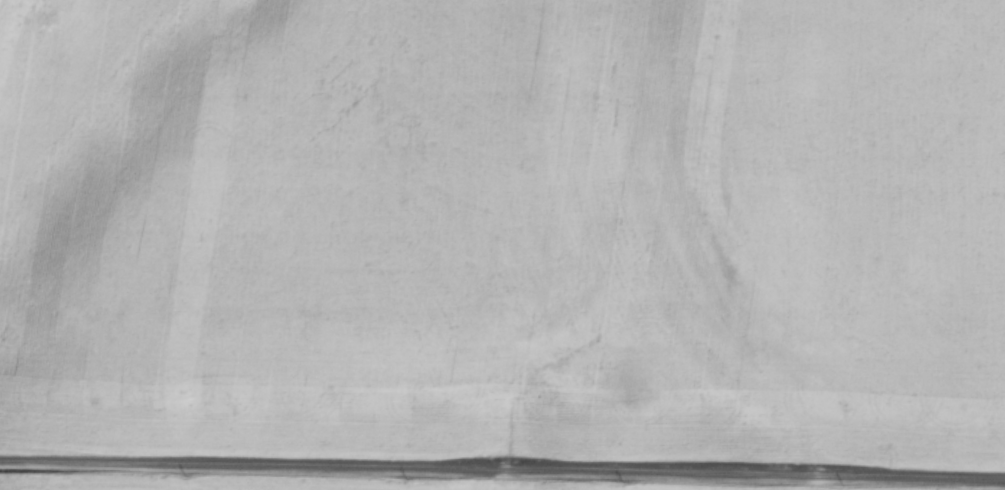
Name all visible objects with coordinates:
road: (502, 477)

